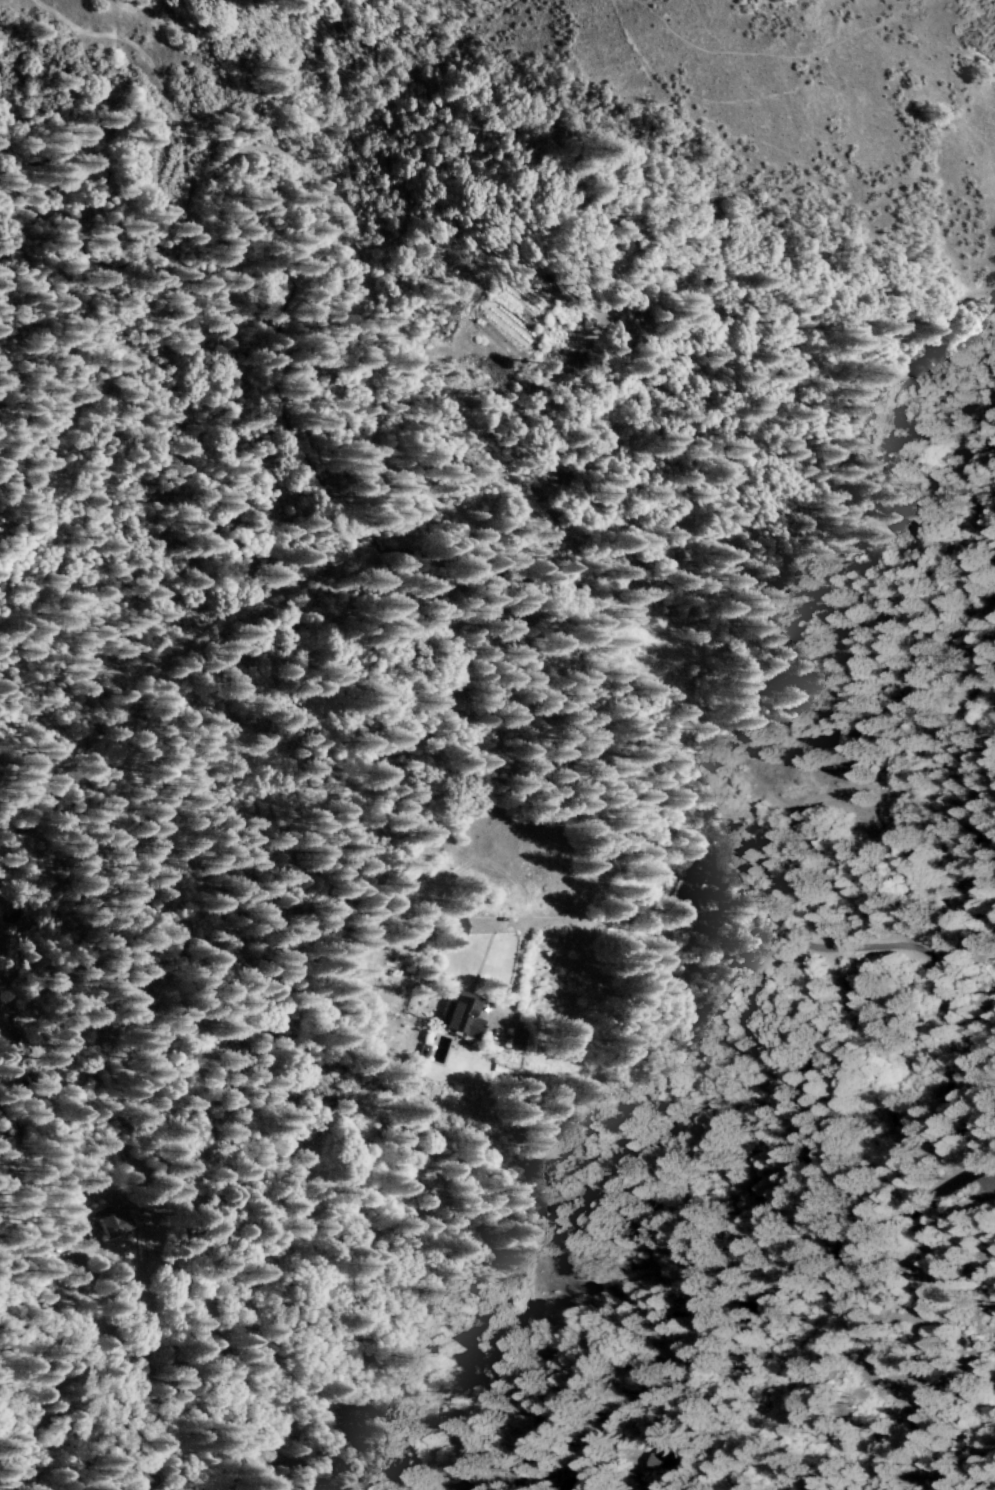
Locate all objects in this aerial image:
road: (771, 52)
road: (779, 312)
road: (370, 525)
road: (820, 946)
building: (459, 1015)
building: (111, 1224)
road: (763, 1301)

